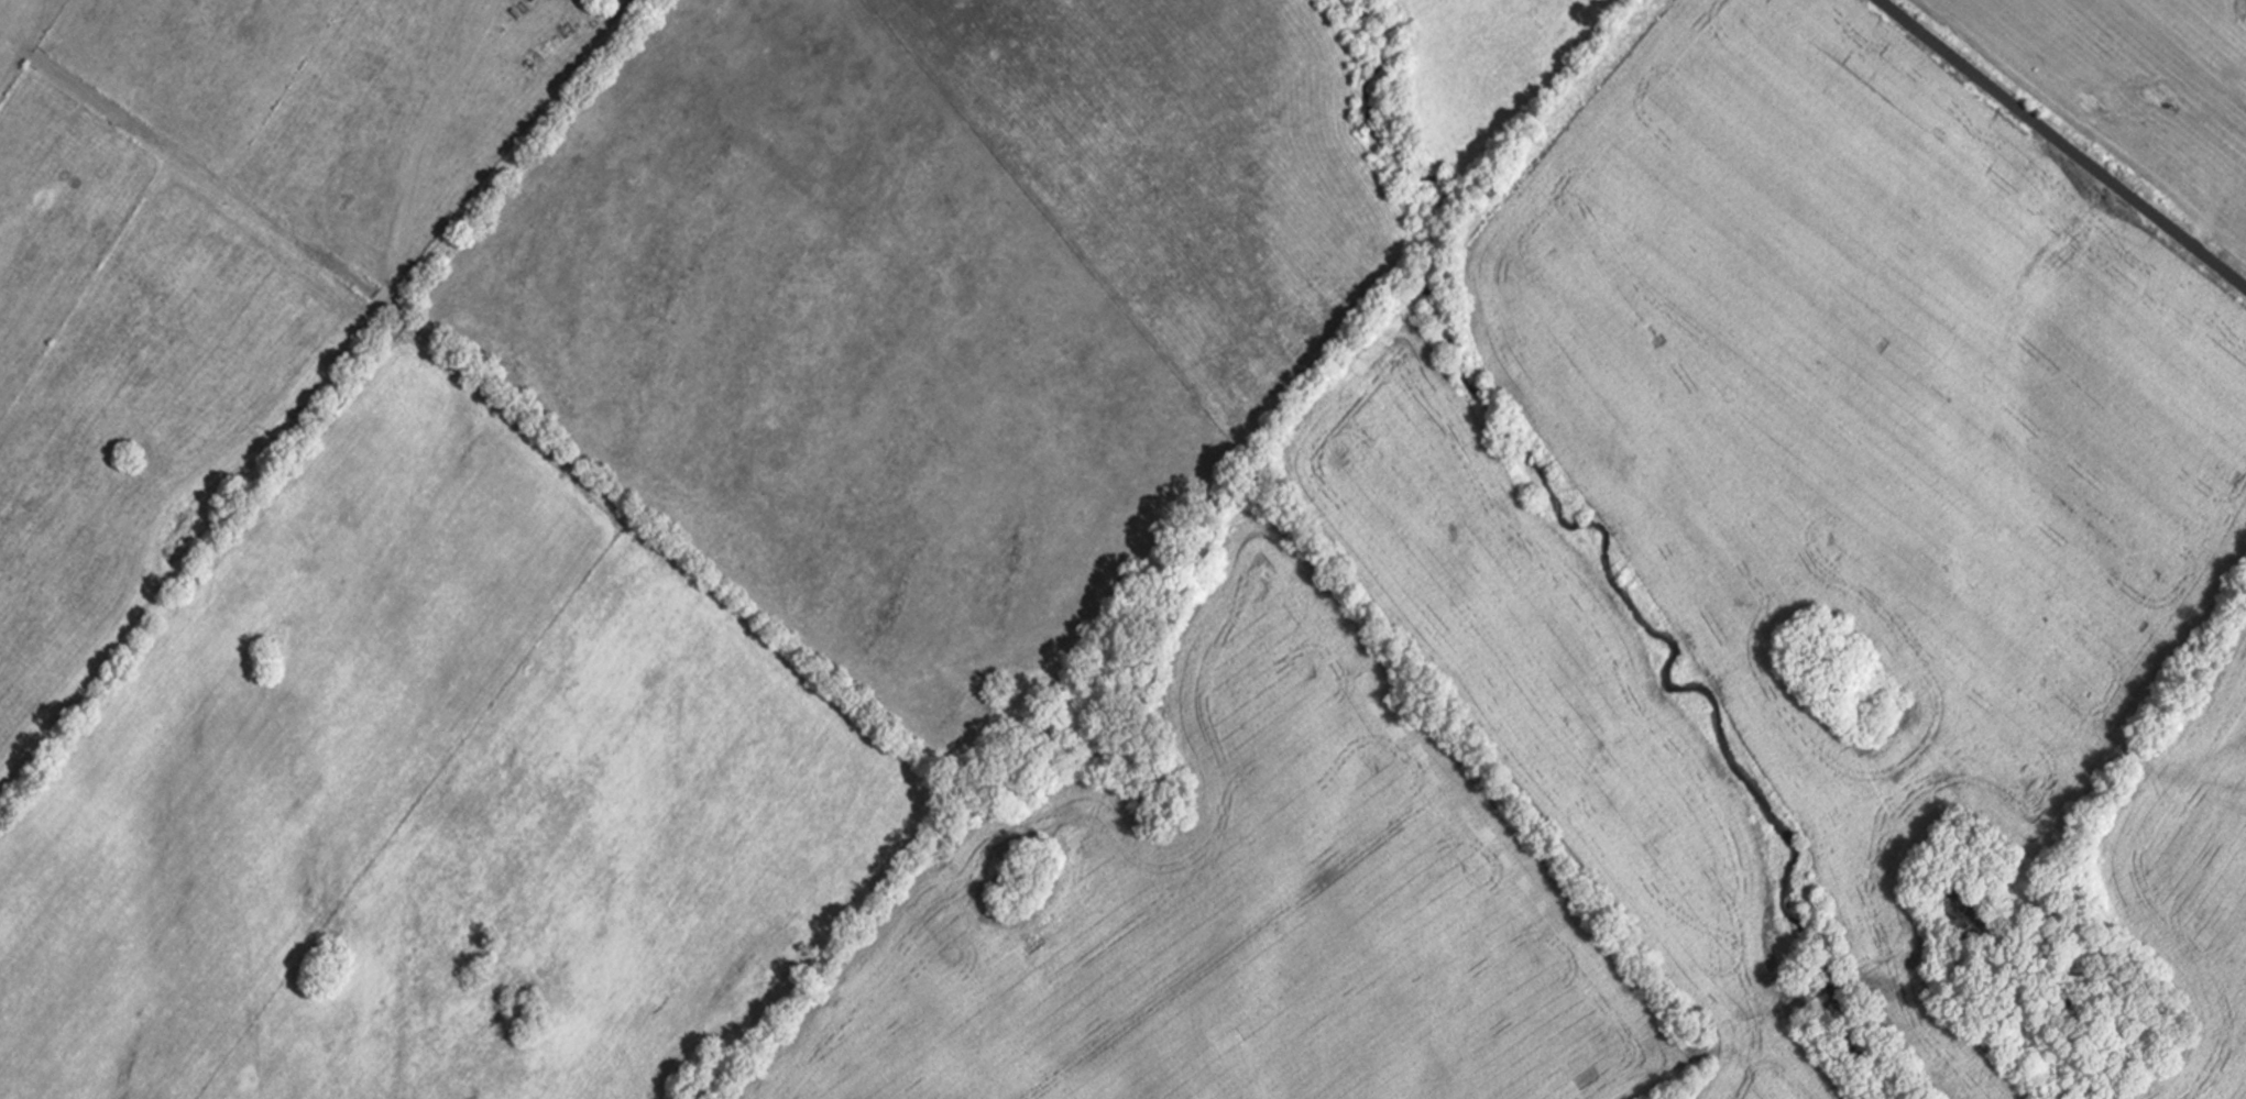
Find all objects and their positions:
road: (2066, 145)
building: (1943, 913)

